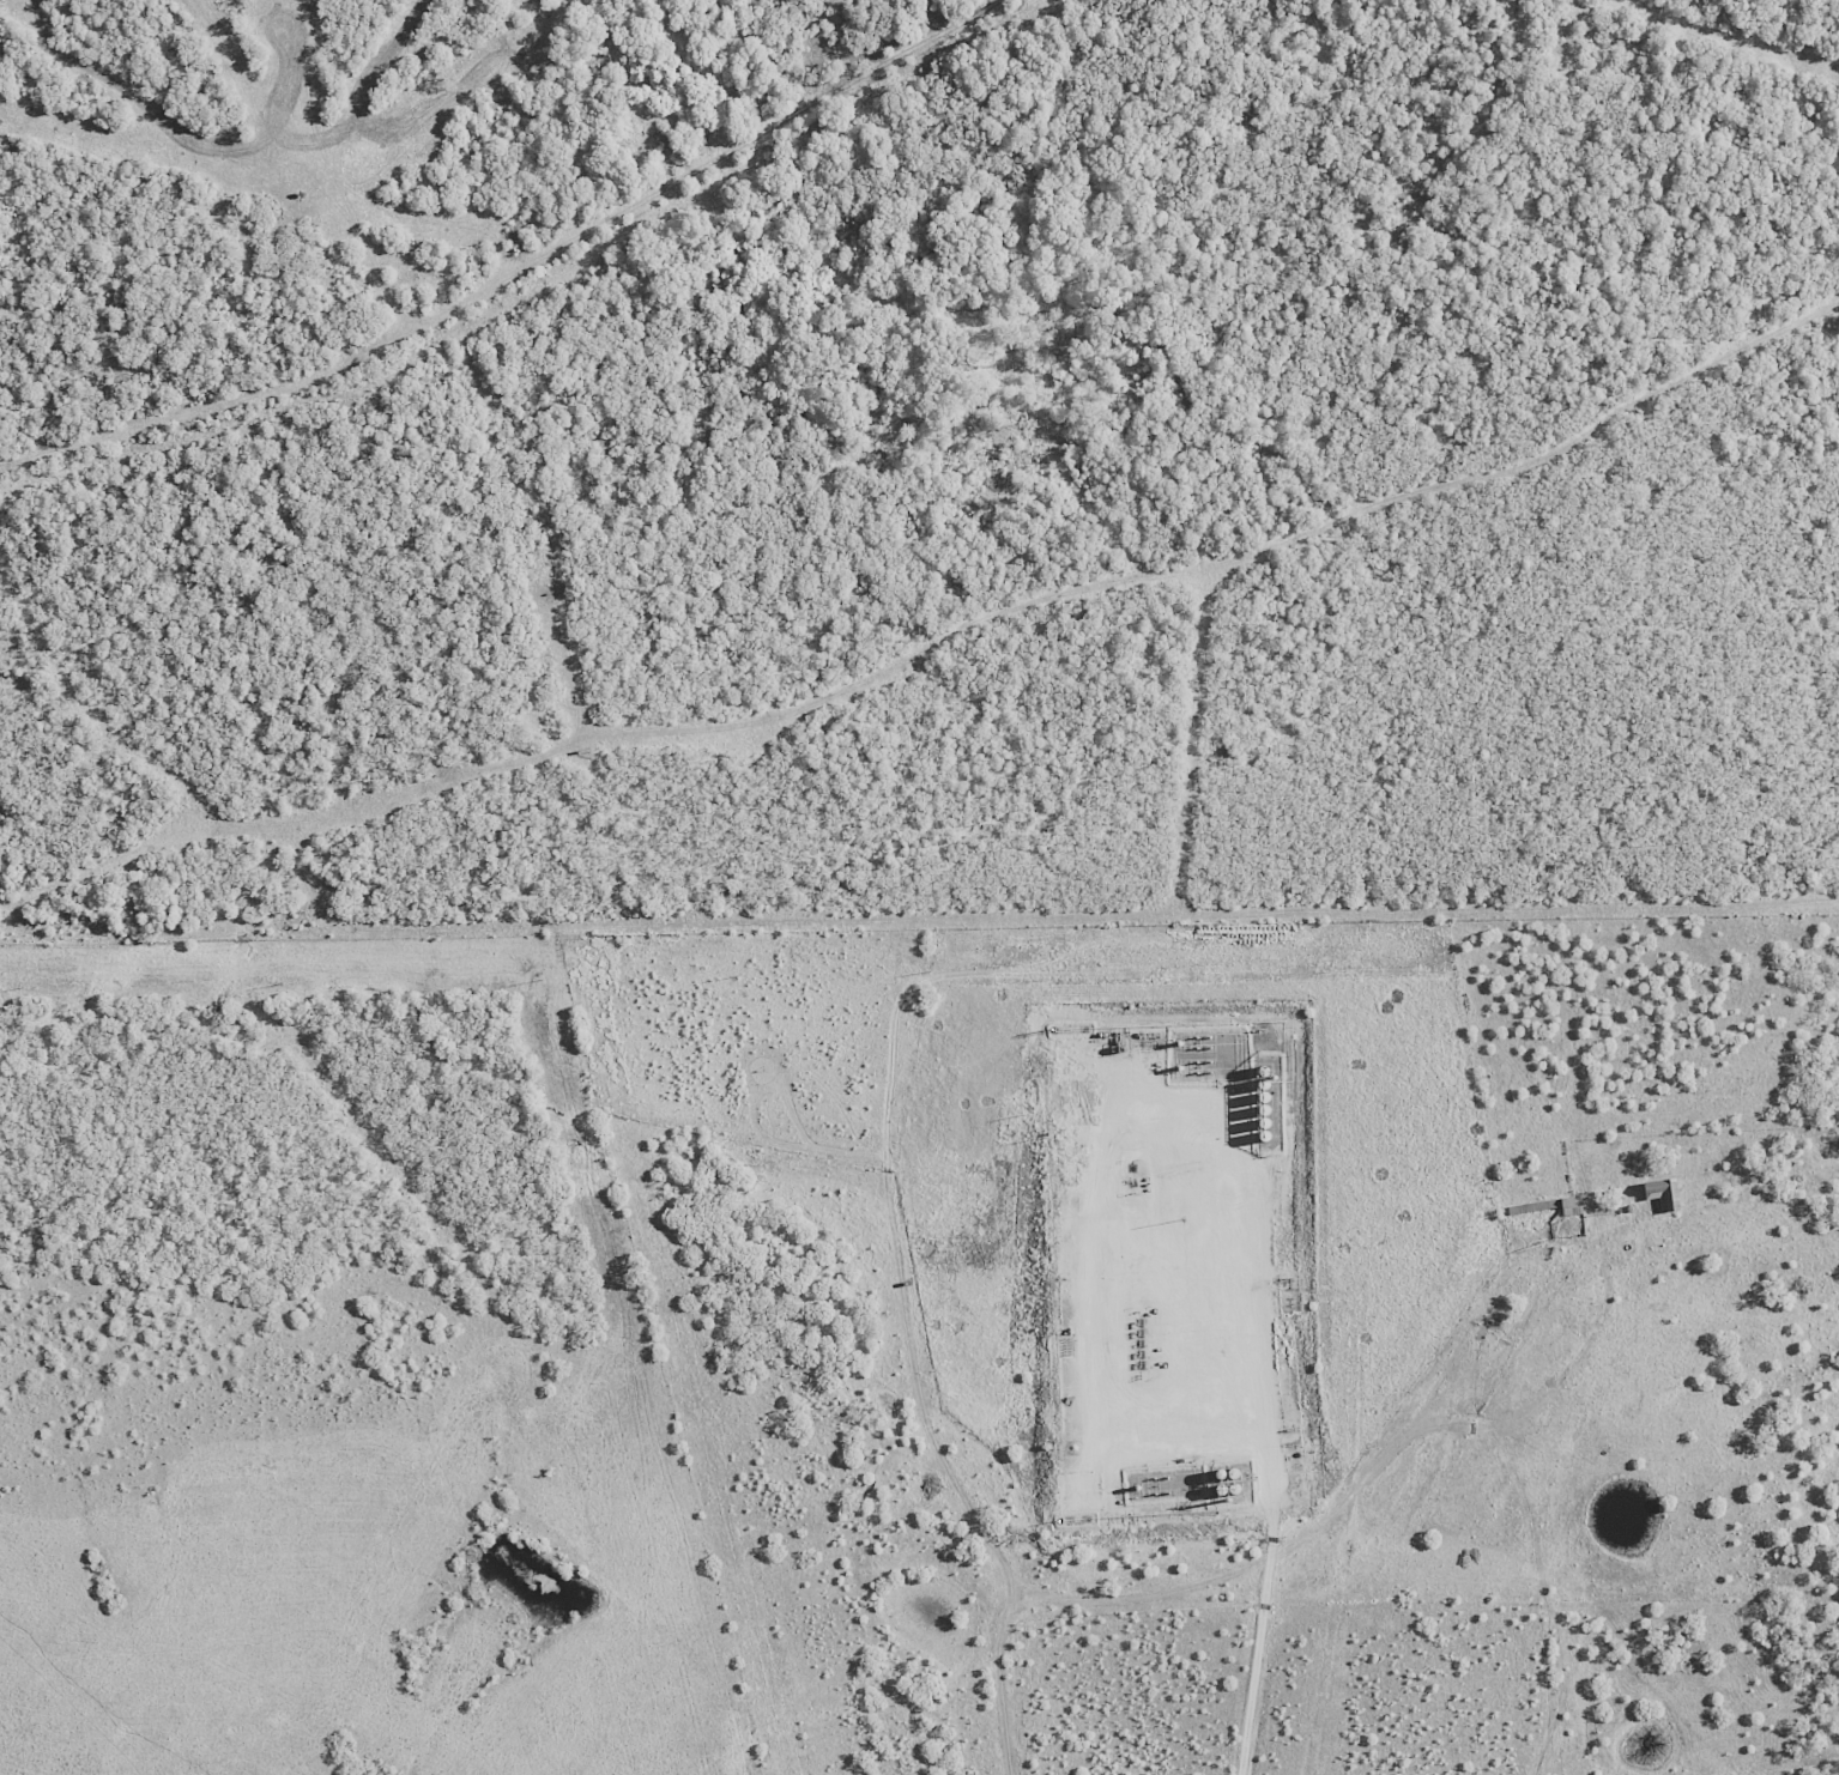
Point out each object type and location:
building: (1662, 1194)

